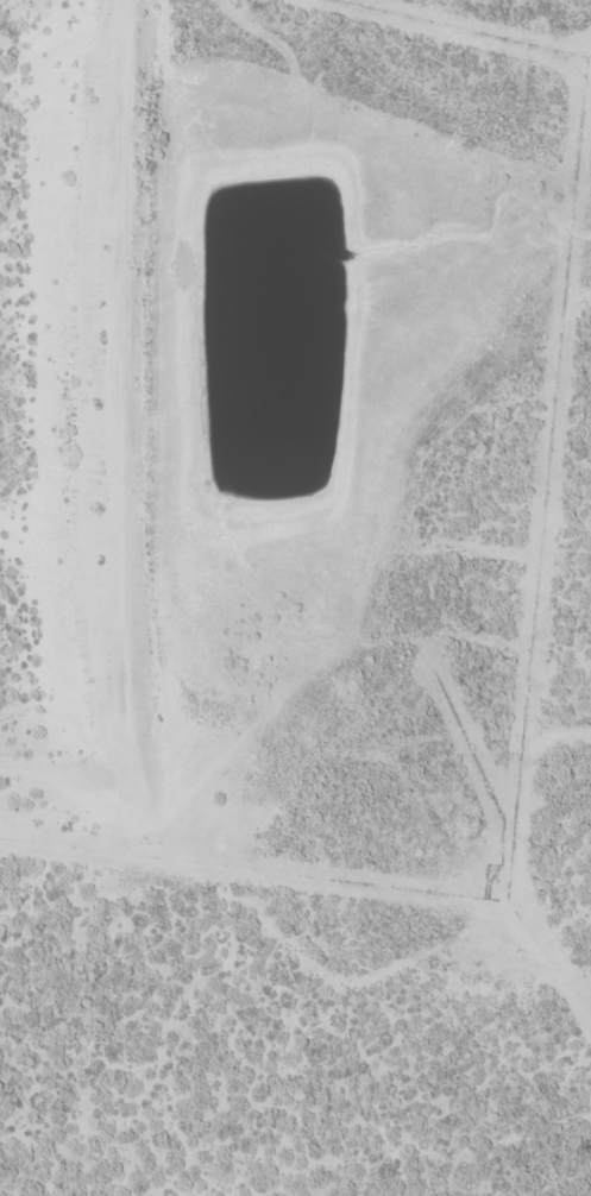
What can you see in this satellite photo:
road: (295, 744)

